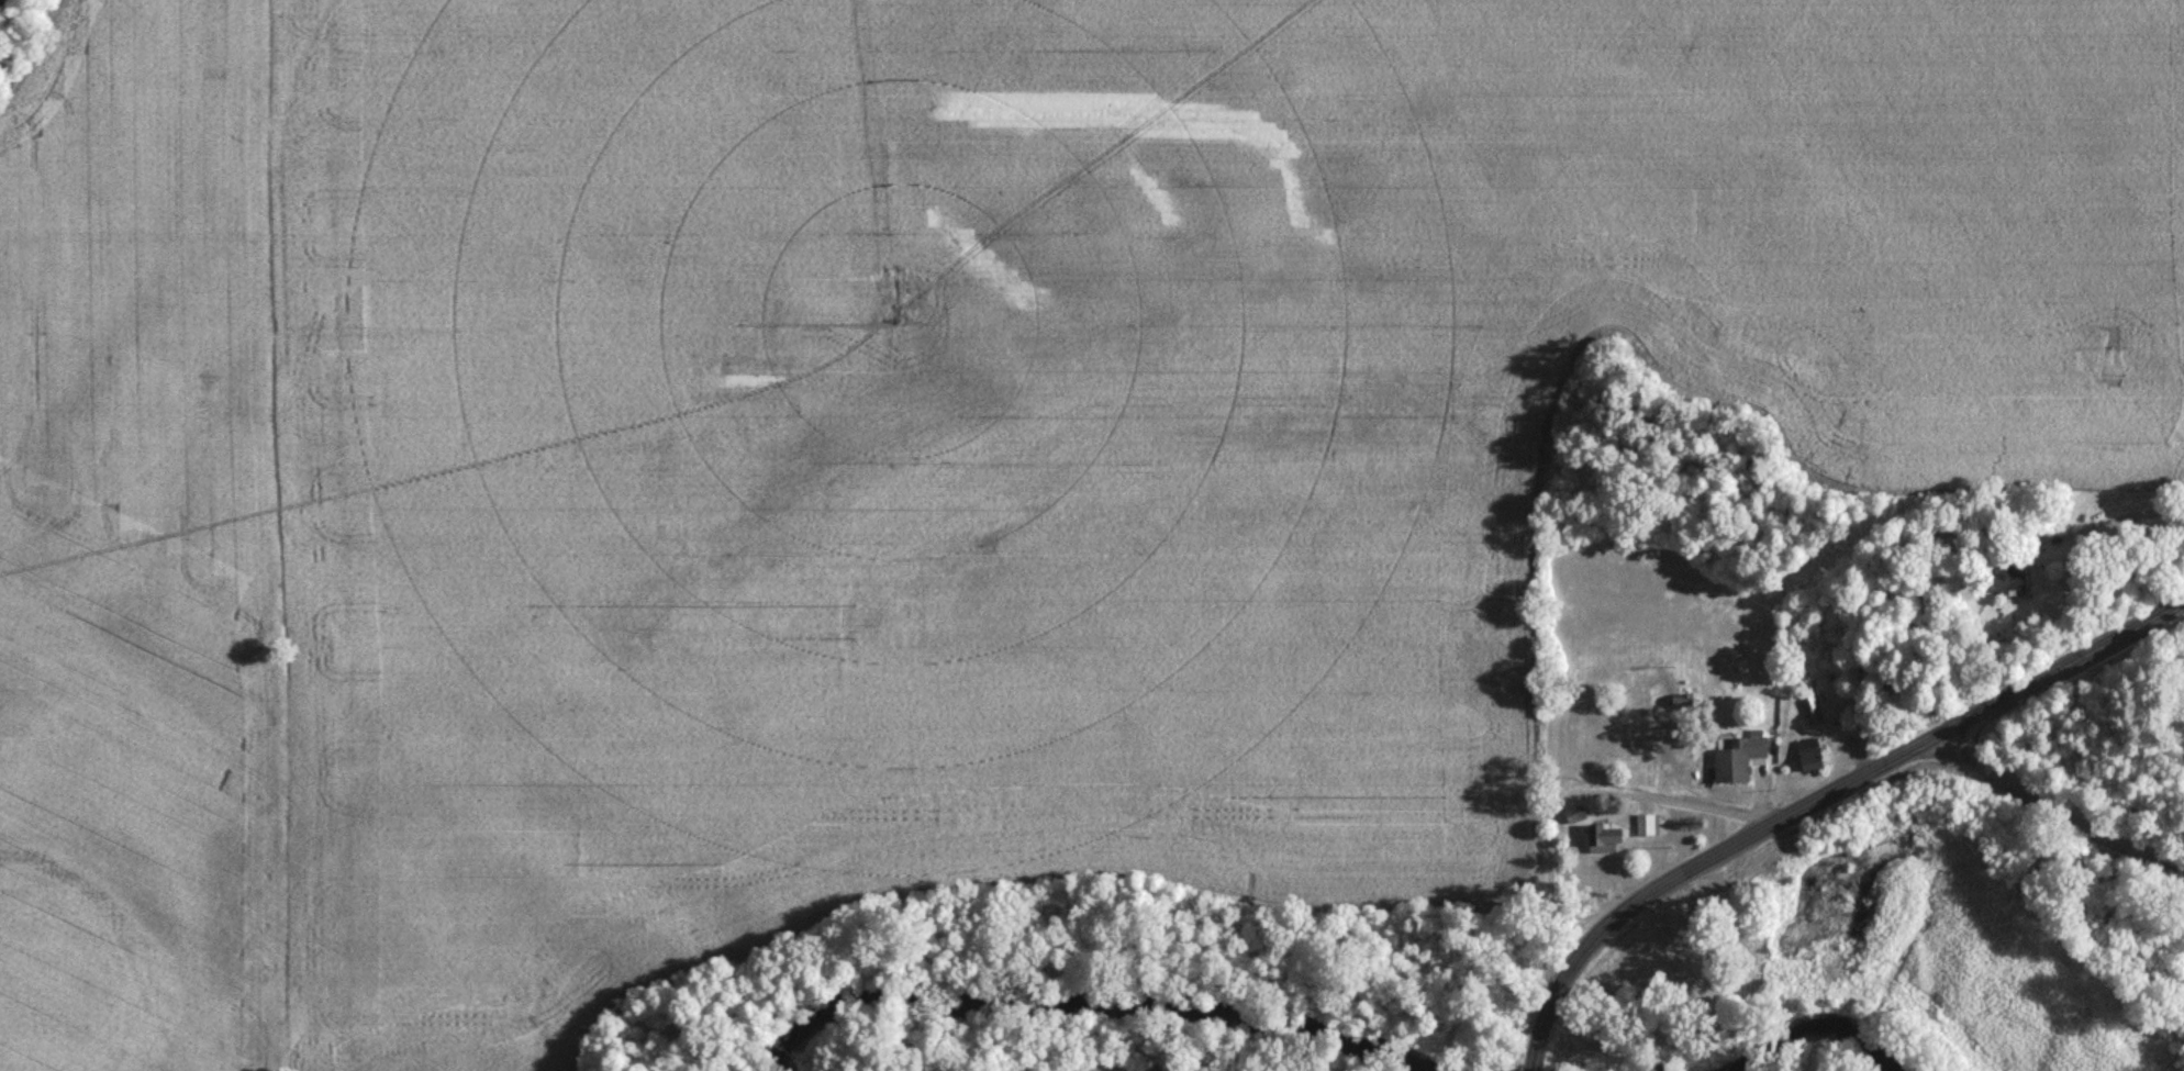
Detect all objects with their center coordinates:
building: (2016, 516)
road: (1960, 528)
building: (2005, 577)
building: (1671, 635)
building: (1809, 706)
building: (1808, 756)
building: (1736, 759)
road: (1834, 788)
road: (1569, 796)
road: (2055, 812)
building: (1646, 825)
building: (1602, 839)
river: (1124, 1003)
river: (1530, 1037)
river: (1815, 1037)
road: (1535, 1052)
building: (1713, 1057)
river: (1618, 1059)

